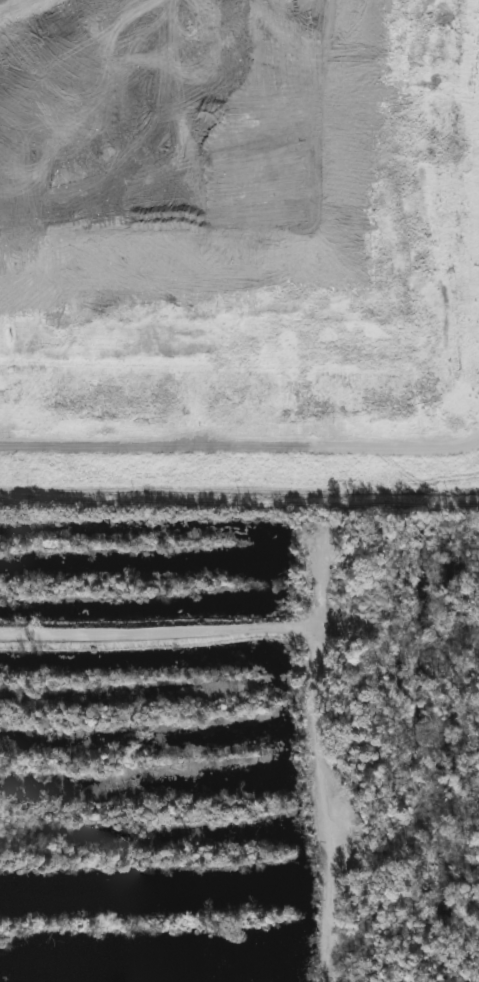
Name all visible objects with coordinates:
road: (14, 7)
landfill: (240, 248)

